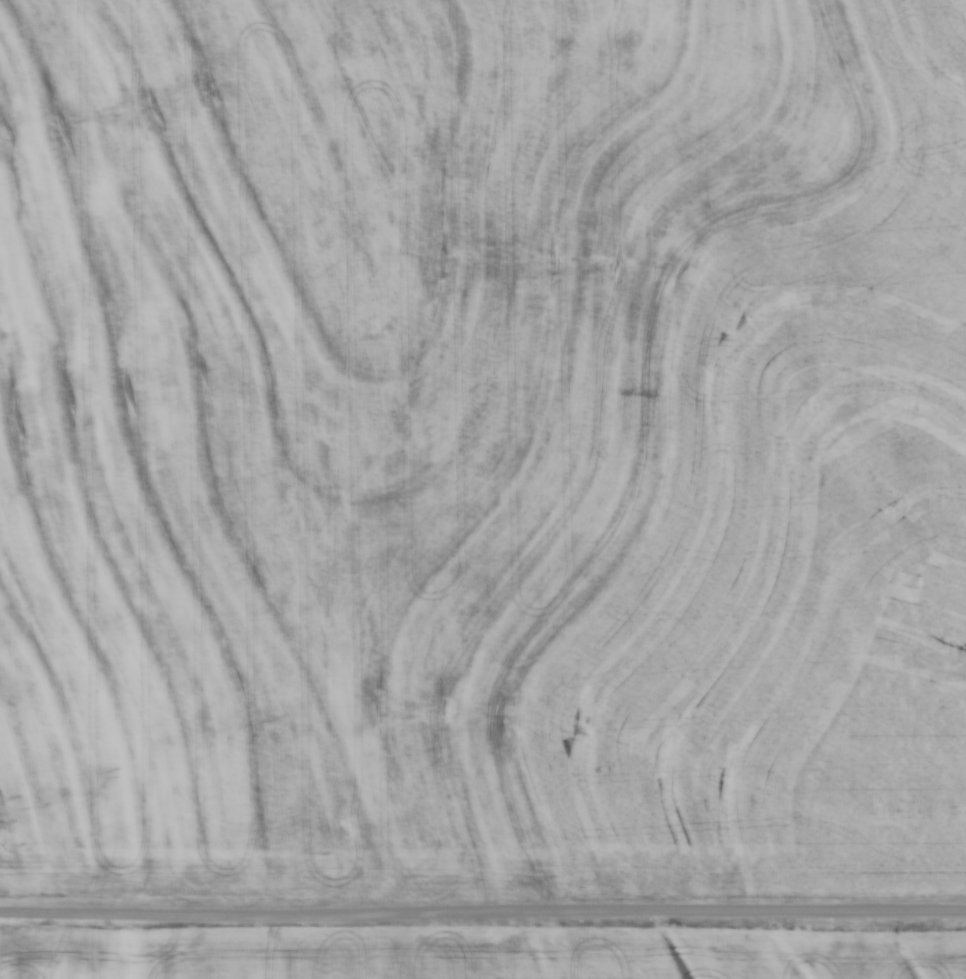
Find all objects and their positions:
road: (483, 916)

